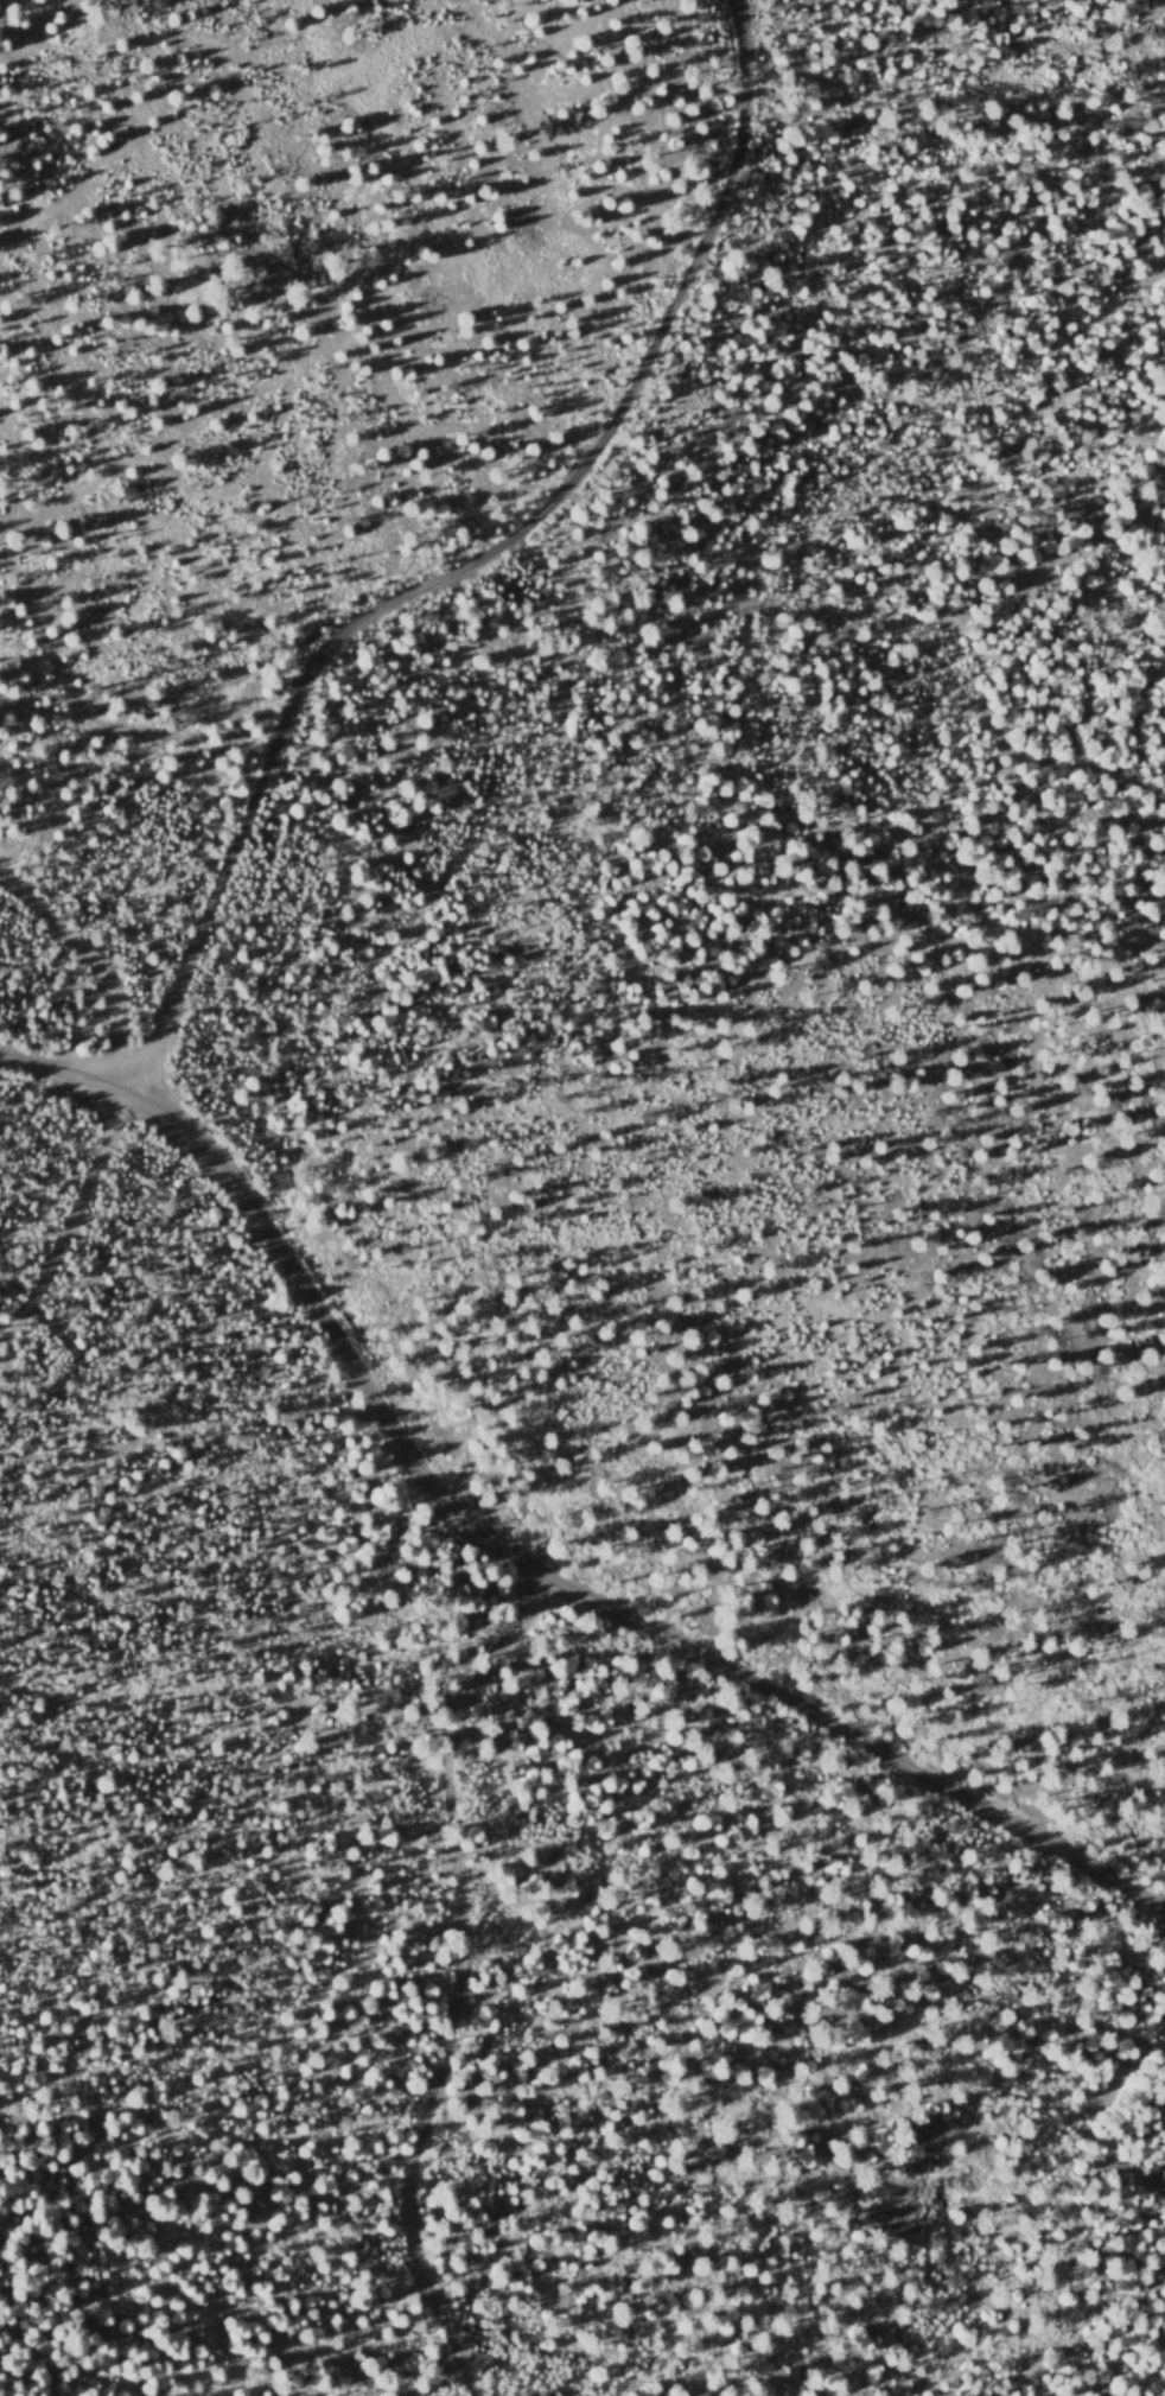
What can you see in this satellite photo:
road: (465, 564)
road: (71, 1220)
road: (510, 1559)
road: (451, 1982)

